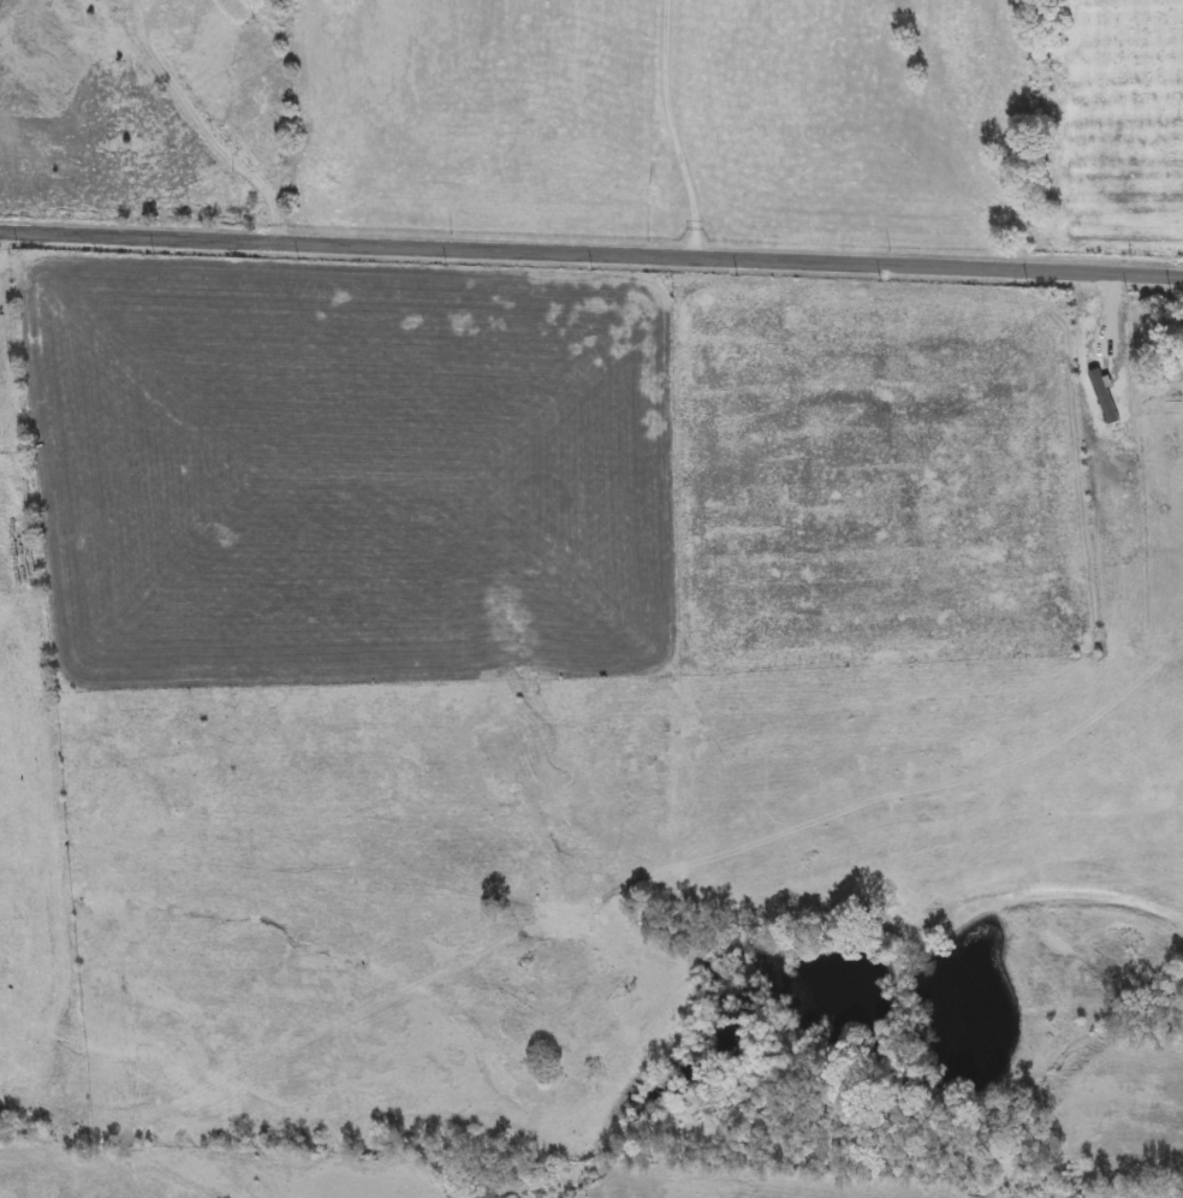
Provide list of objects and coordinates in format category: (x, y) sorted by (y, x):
road: (201, 126)
road: (670, 129)
road: (590, 251)

